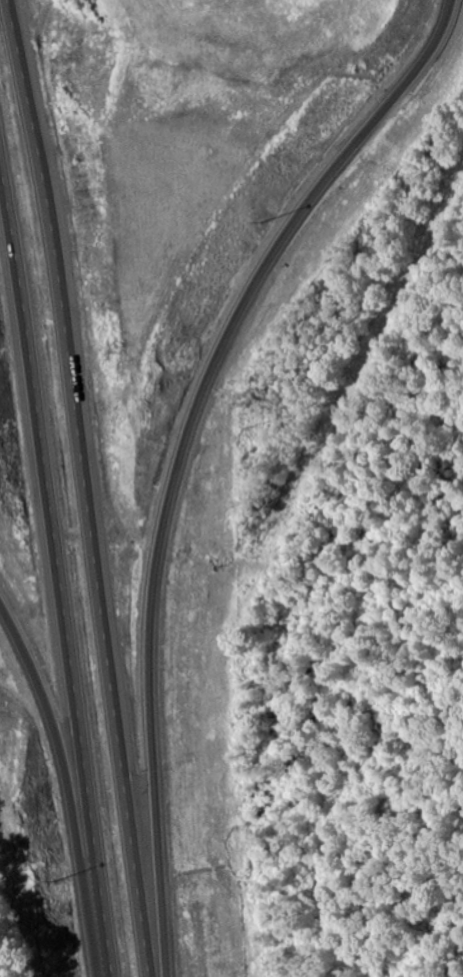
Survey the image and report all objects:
road: (225, 382)
road: (87, 487)
road: (56, 580)
road: (48, 657)

